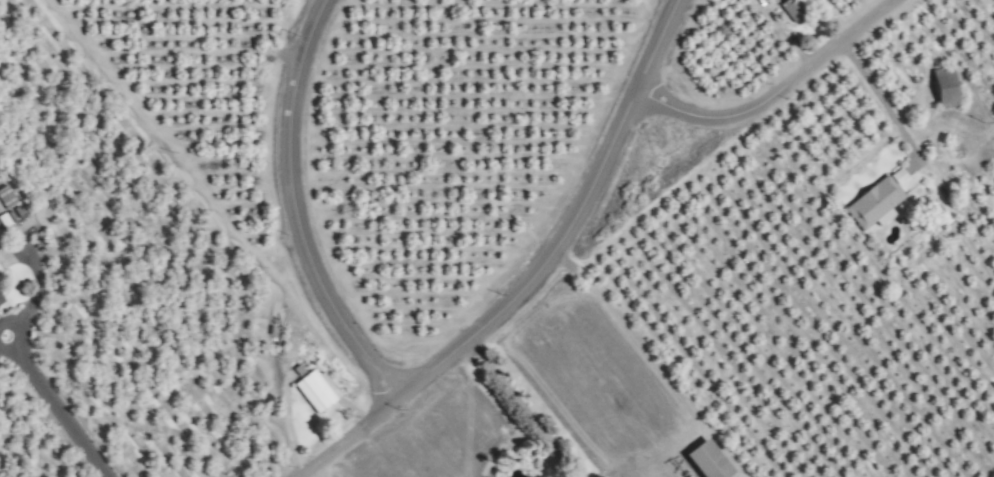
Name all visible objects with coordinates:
building: (789, 9)
building: (942, 87)
road: (777, 93)
road: (883, 104)
building: (5, 198)
building: (872, 203)
road: (295, 209)
road: (537, 276)
building: (314, 389)
road: (56, 403)
road: (523, 409)
building: (703, 460)

